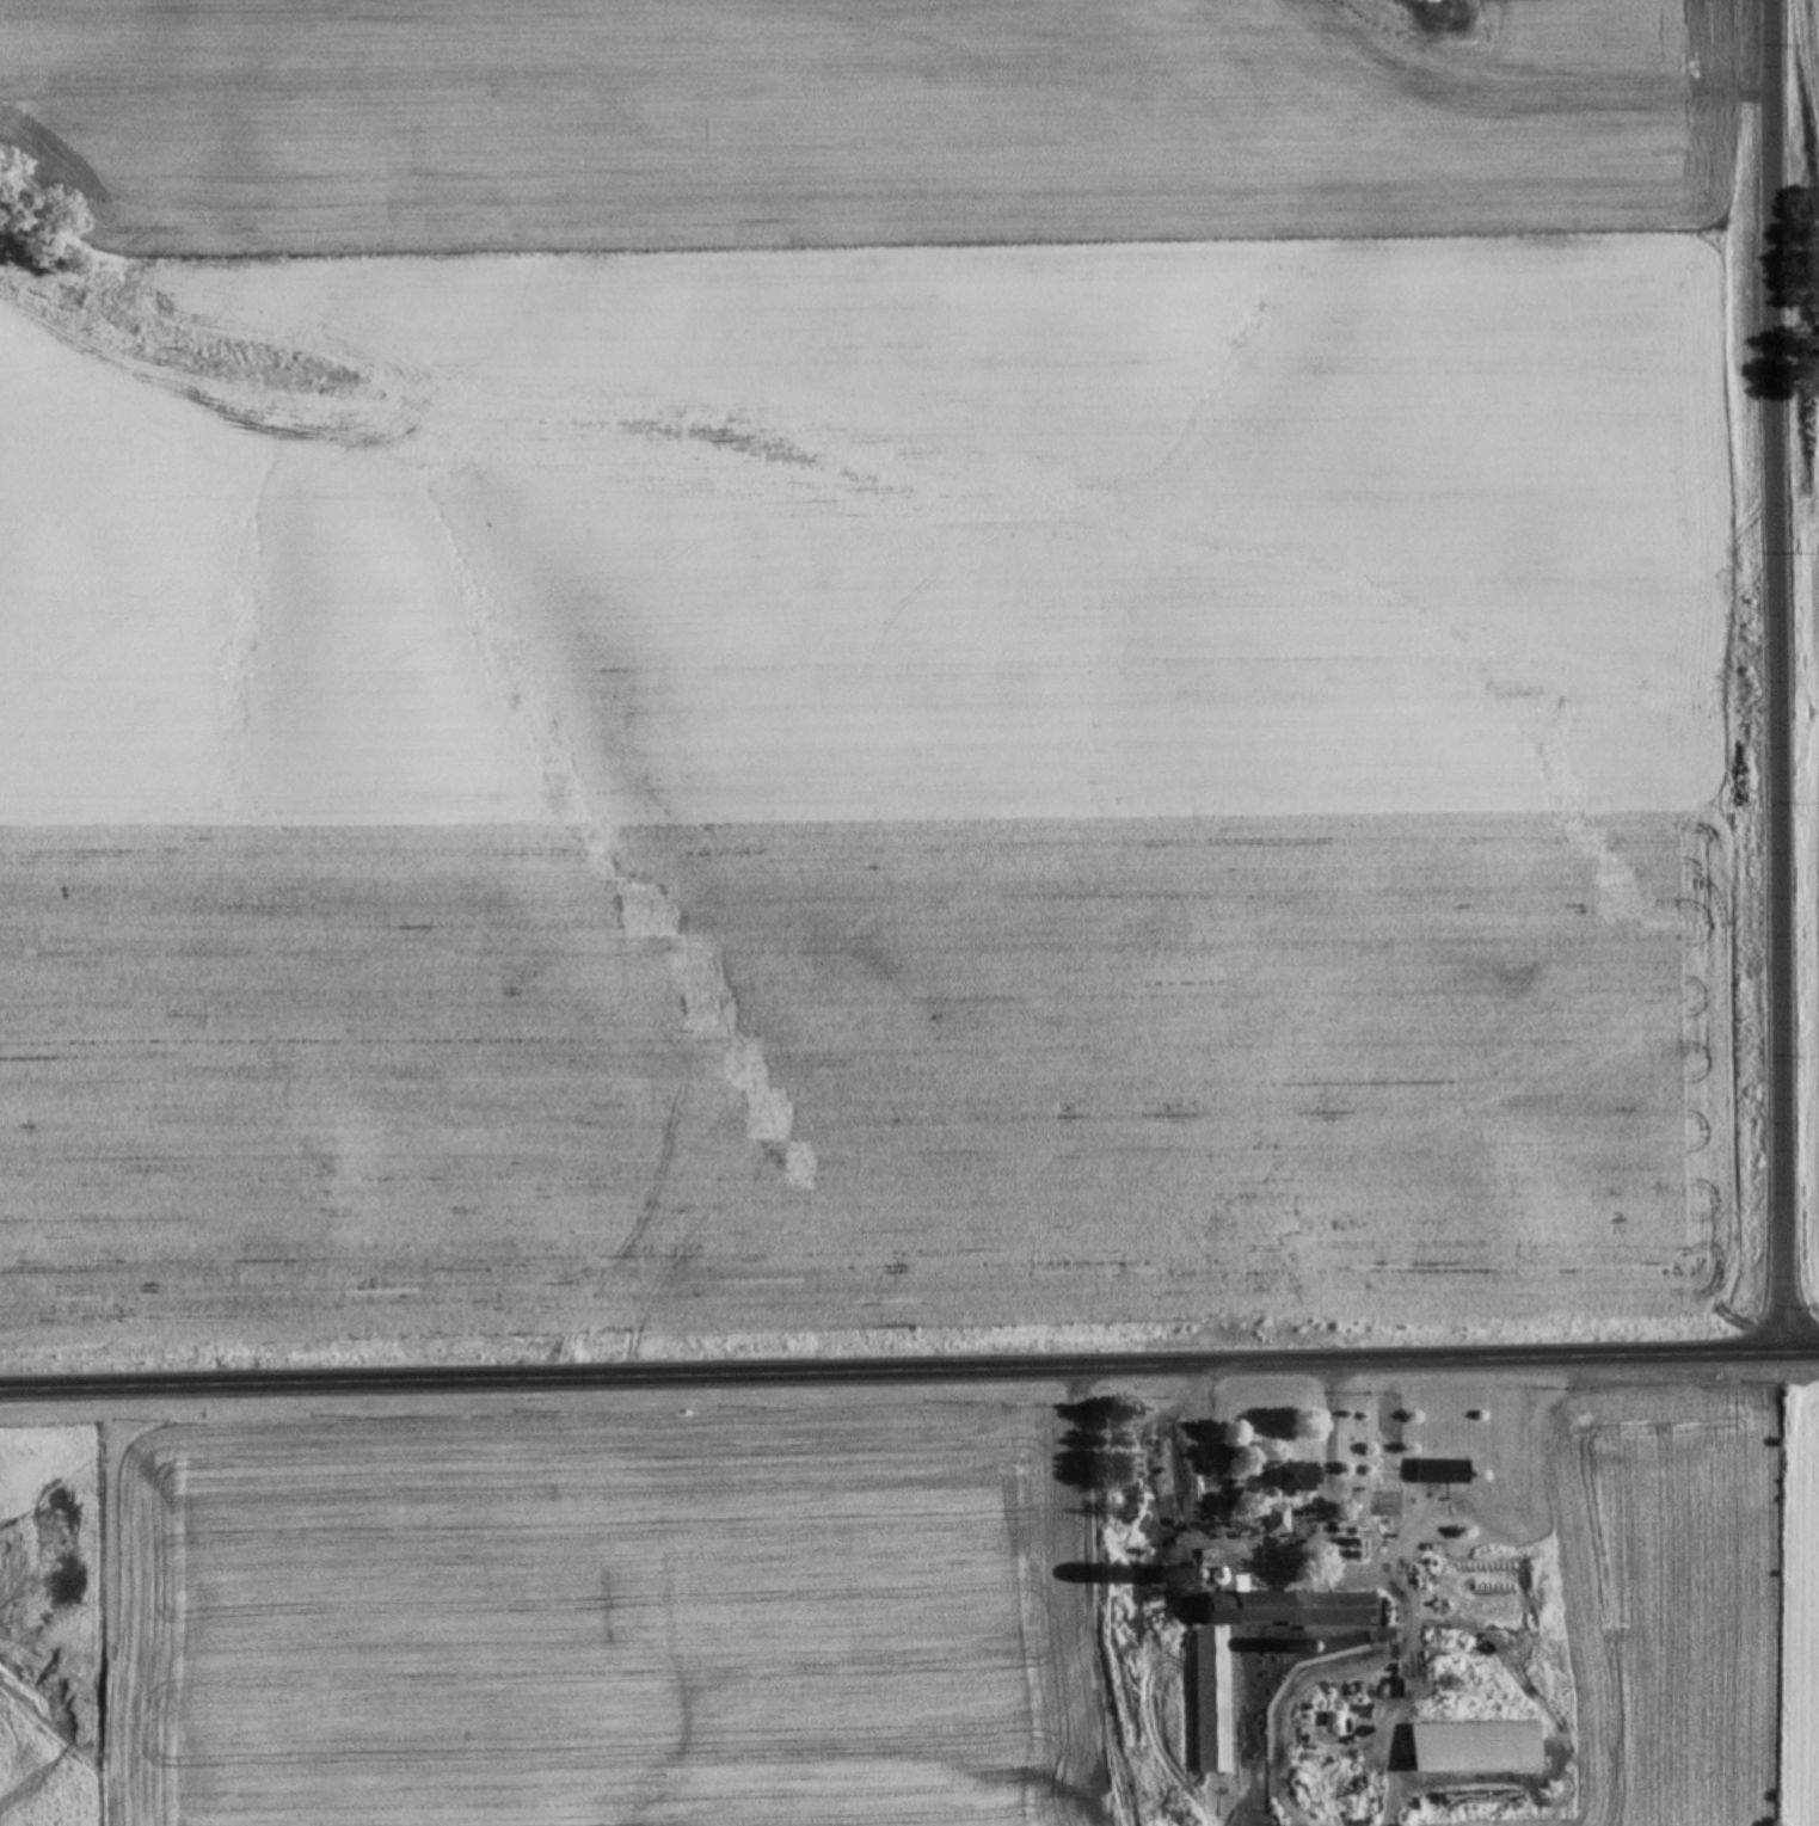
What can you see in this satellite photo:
road: (1775, 677)
road: (909, 1372)
building: (1286, 1478)
building: (1273, 1520)
building: (1204, 1702)
building: (1467, 1750)

